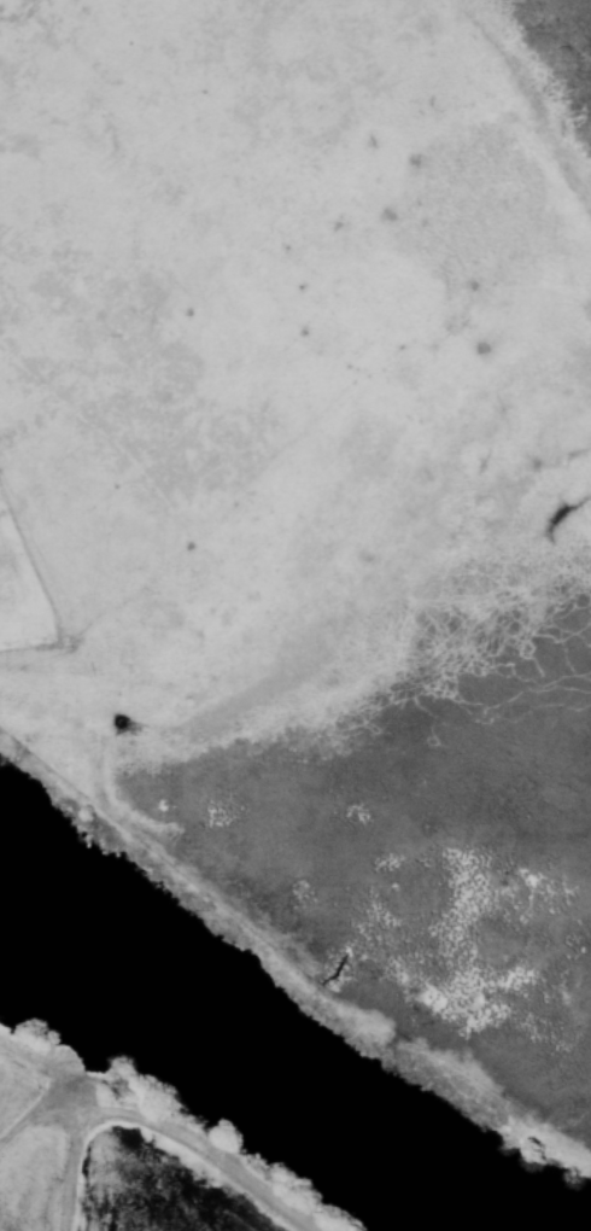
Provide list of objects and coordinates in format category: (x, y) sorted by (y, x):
river: (247, 1086)

